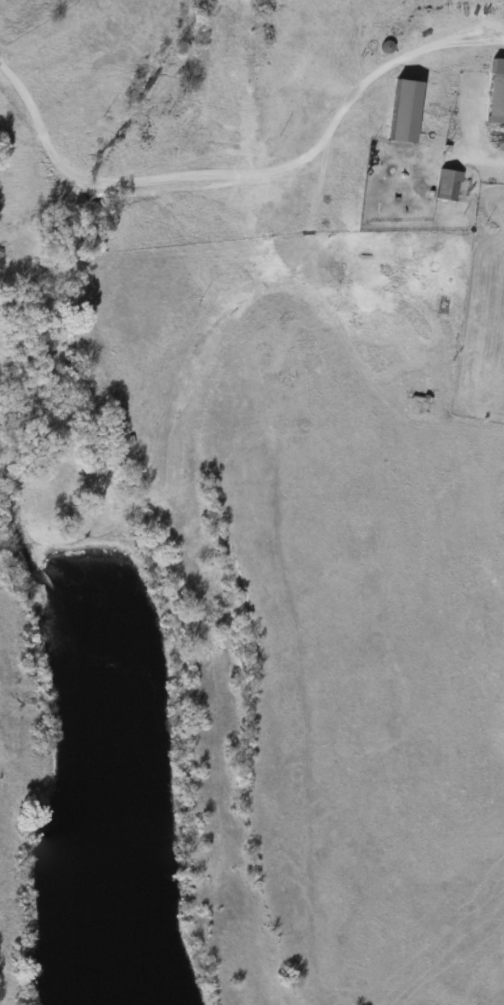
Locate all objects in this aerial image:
building: (494, 92)
building: (399, 111)
road: (37, 129)
road: (318, 144)
road: (93, 185)
building: (445, 185)

